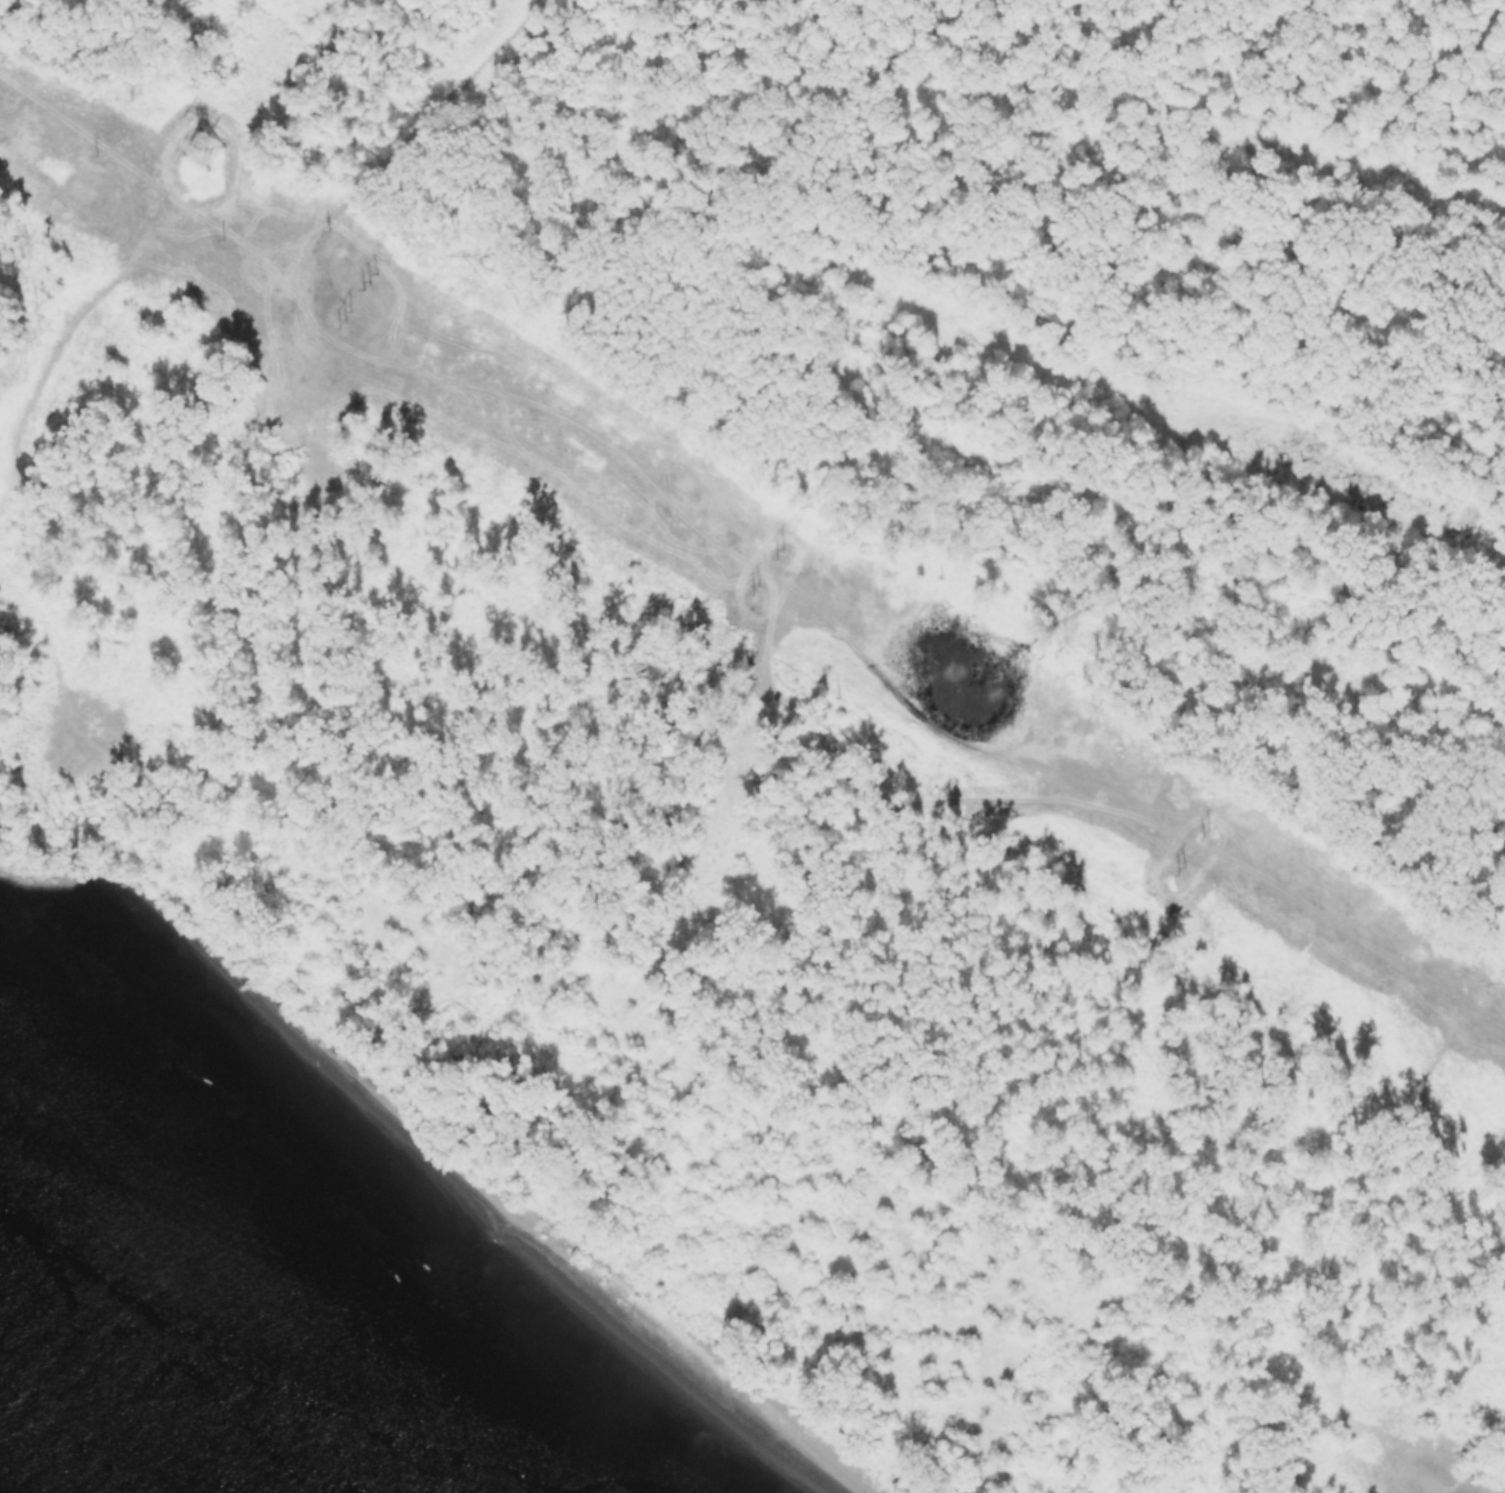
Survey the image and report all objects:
road: (408, 136)
power tower: (200, 151)
road: (742, 561)
river: (139, 1382)

